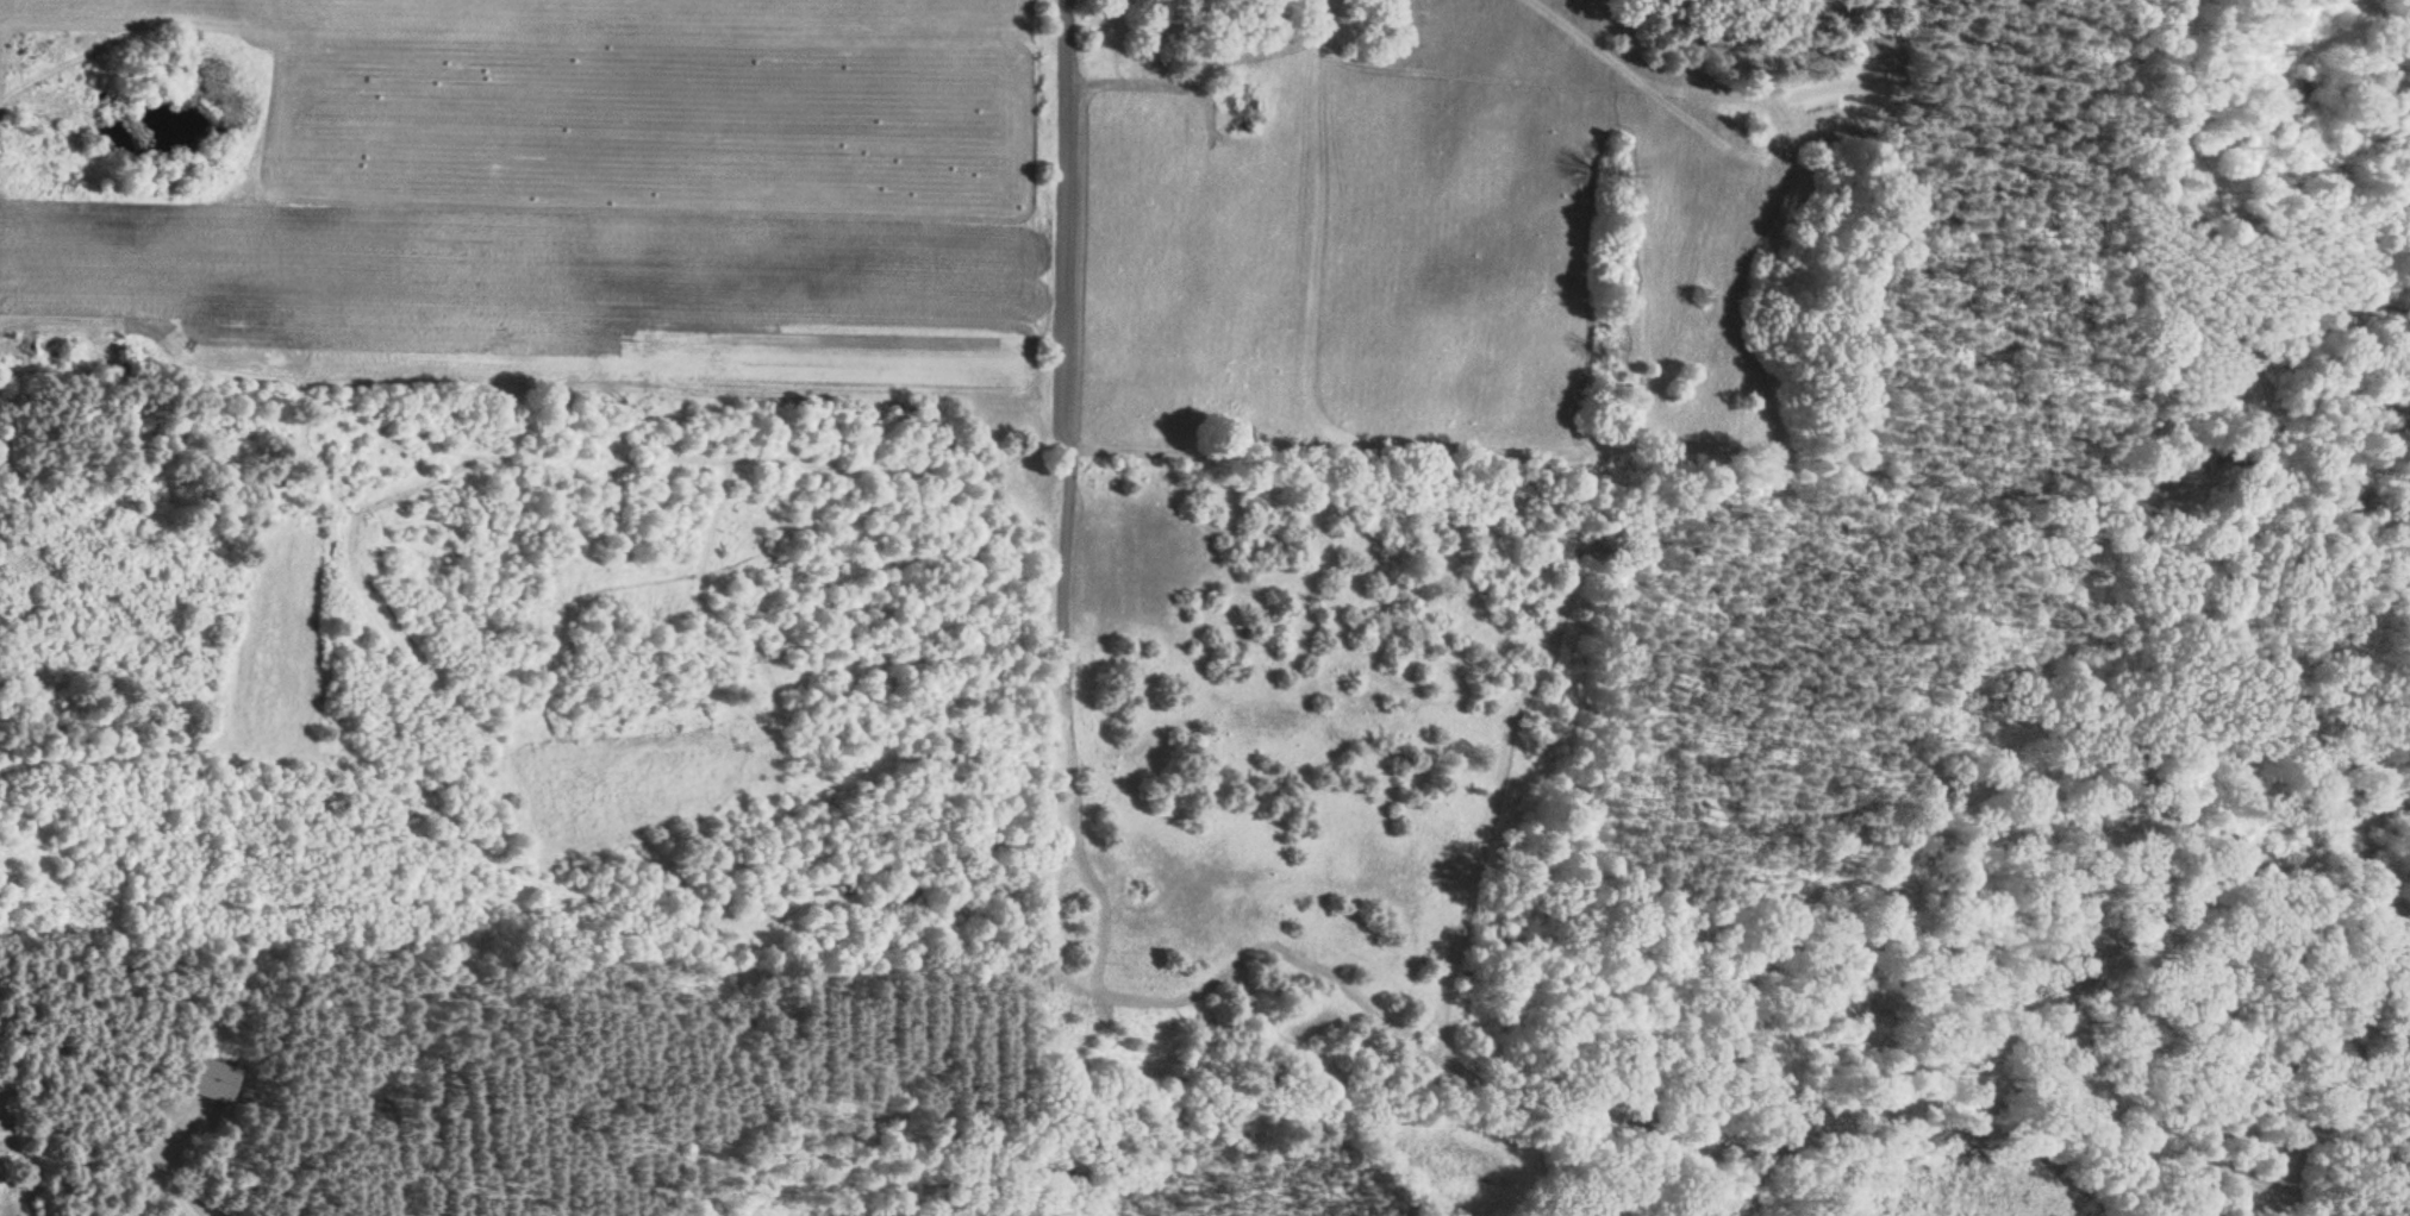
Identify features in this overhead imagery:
building: (210, 1080)

